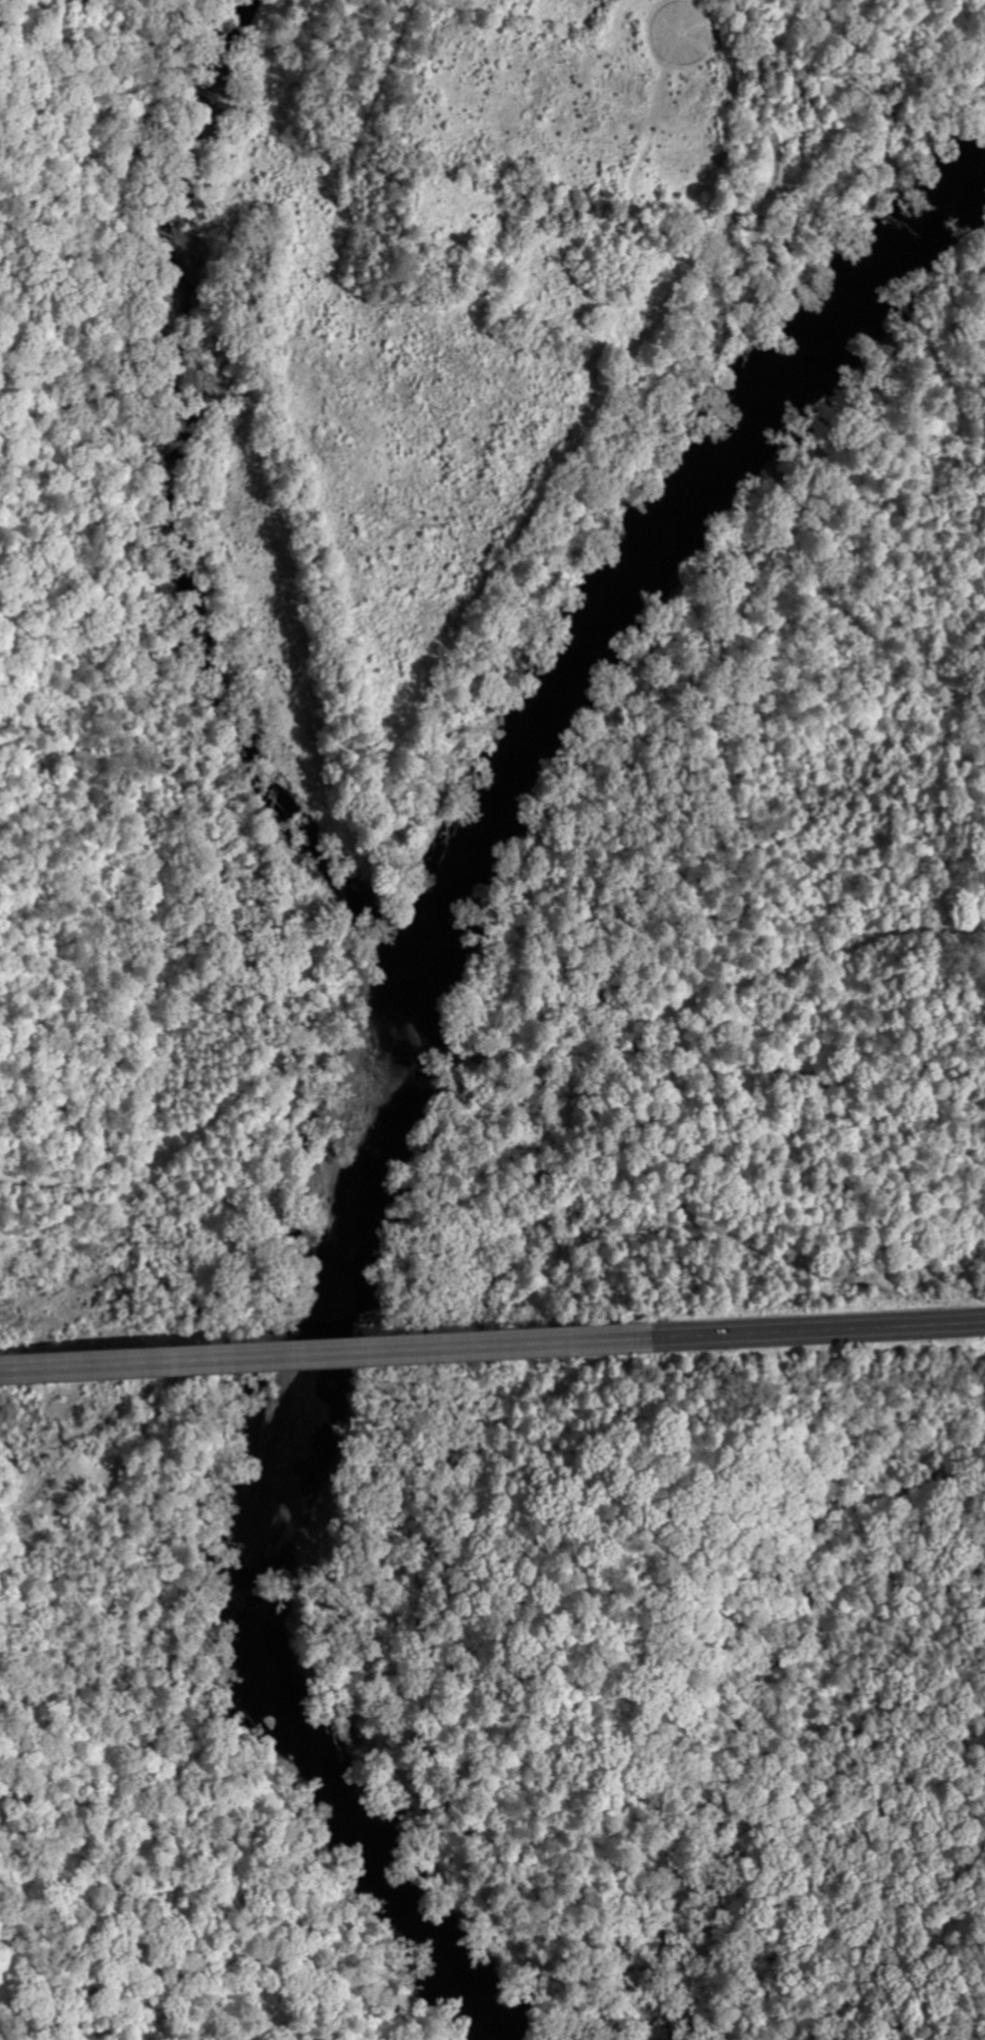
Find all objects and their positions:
road: (737, 926)
river: (410, 1045)
road: (817, 1331)
road: (325, 1354)

